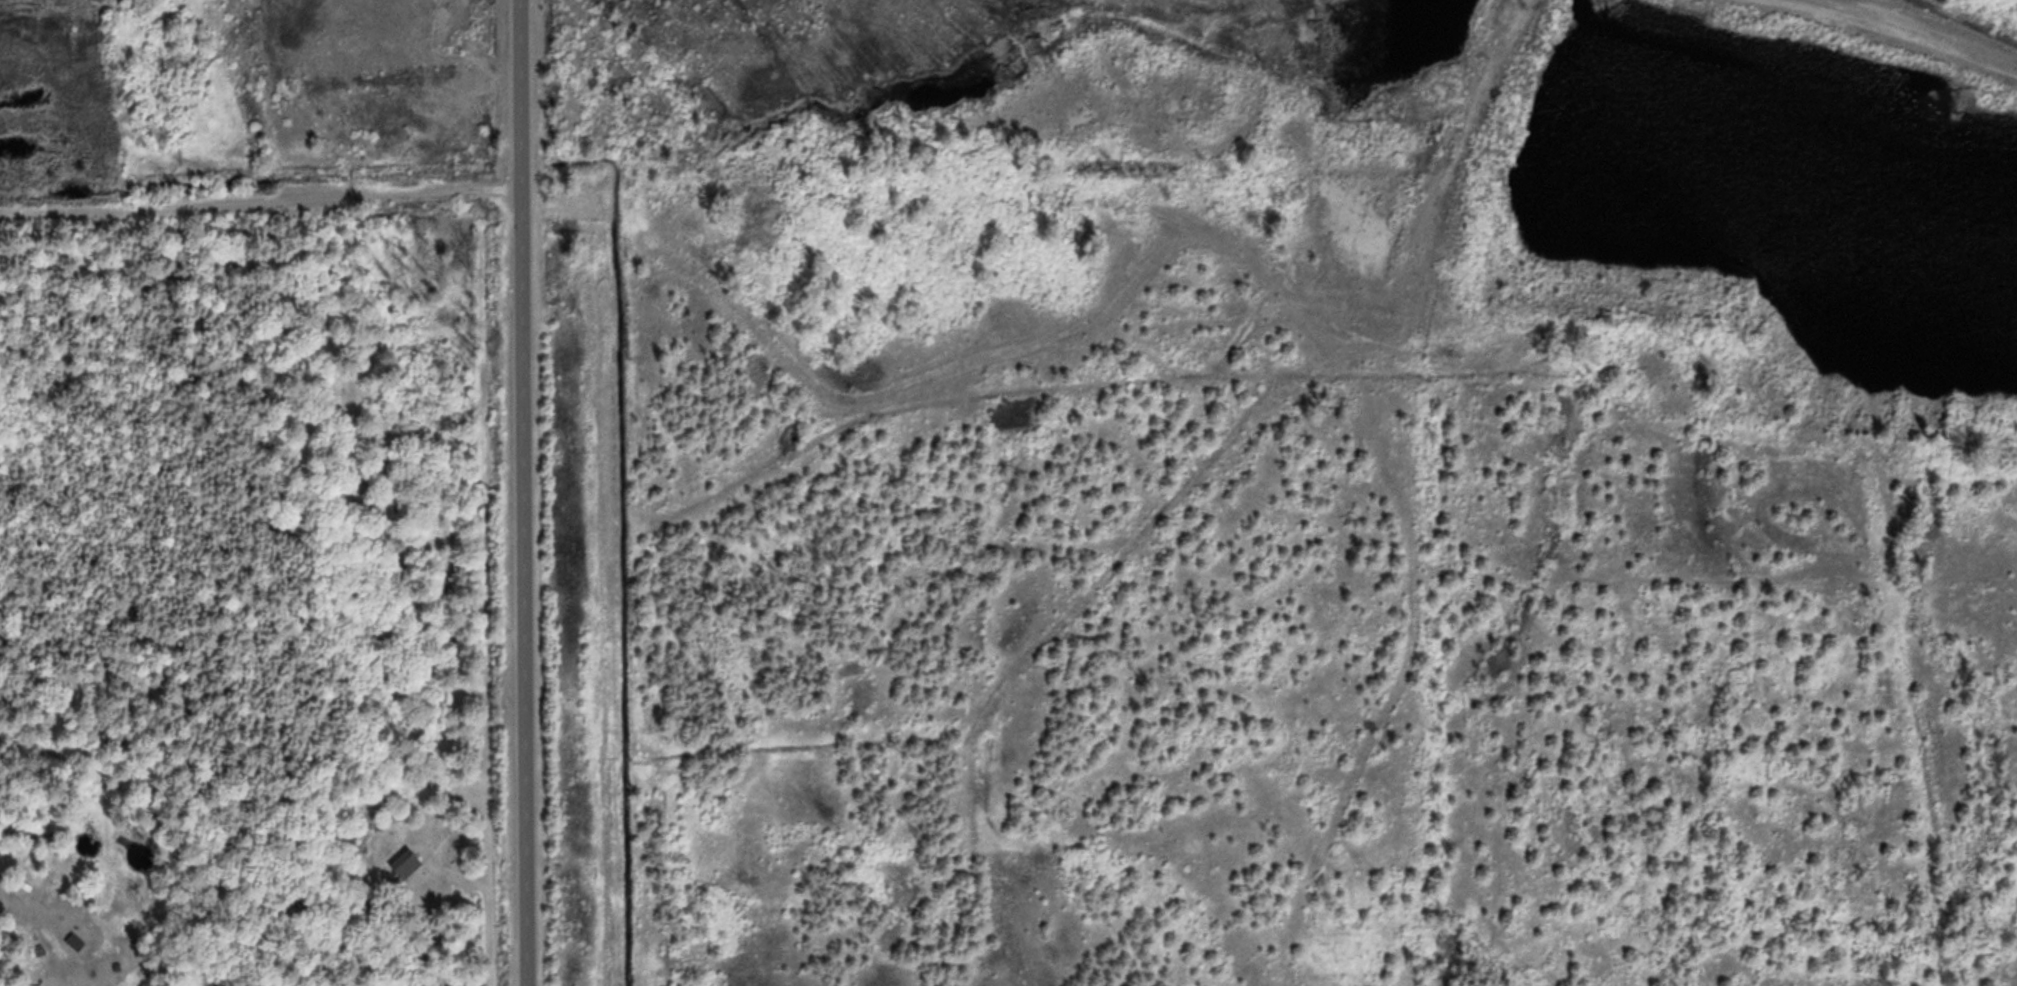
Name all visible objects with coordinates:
road: (1895, 25)
road: (524, 493)
building: (404, 861)
building: (33, 984)

